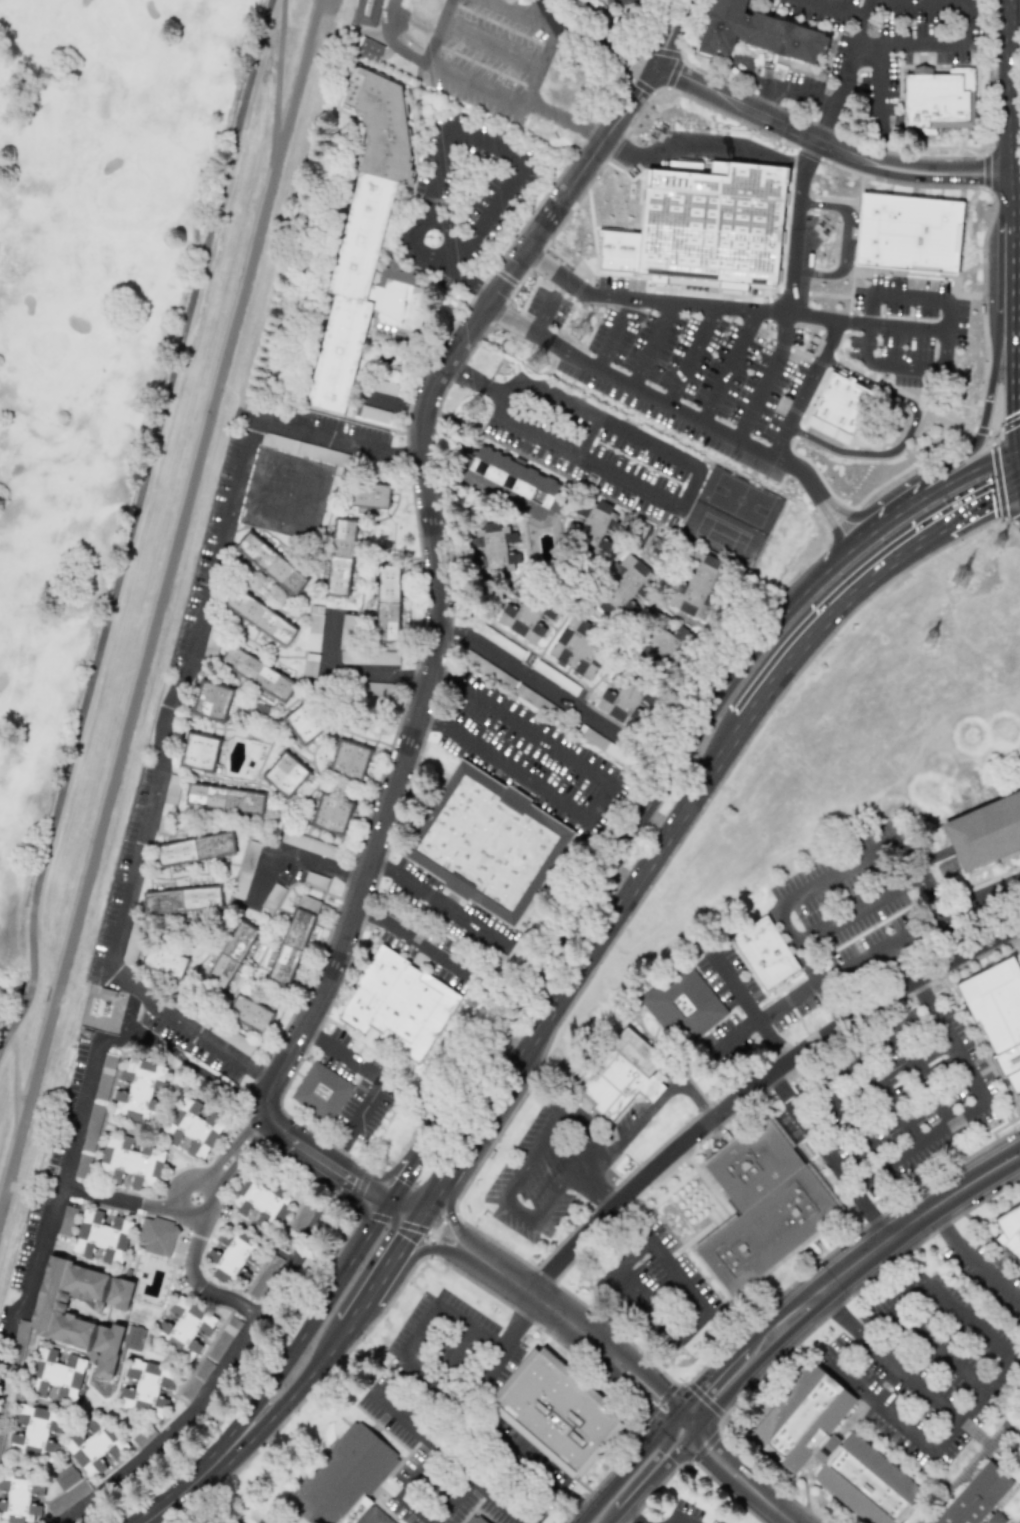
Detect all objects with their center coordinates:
road: (782, 1)
building: (626, 2)
road: (837, 9)
building: (366, 12)
road: (521, 13)
road: (414, 23)
road: (438, 31)
road: (670, 32)
building: (758, 33)
road: (579, 37)
road: (390, 40)
road: (933, 43)
road: (490, 45)
building: (368, 50)
road: (625, 50)
road: (544, 51)
road: (621, 59)
road: (646, 63)
road: (845, 71)
road: (298, 77)
road: (877, 82)
road: (475, 87)
building: (940, 98)
road: (1013, 104)
road: (566, 119)
road: (487, 143)
road: (704, 149)
road: (443, 227)
building: (709, 232)
road: (466, 238)
building: (912, 238)
road: (848, 242)
road: (415, 243)
building: (367, 244)
road: (453, 255)
road: (1016, 259)
road: (469, 283)
road: (653, 301)
road: (513, 317)
road: (849, 320)
power tower: (583, 330)
road: (1016, 330)
road: (547, 339)
park: (87, 342)
road: (655, 344)
road: (691, 355)
road: (731, 366)
power tower: (542, 368)
road: (909, 368)
road: (769, 376)
building: (385, 387)
road: (809, 388)
road: (654, 394)
road: (1017, 394)
building: (844, 405)
power tower: (477, 413)
building: (374, 414)
road: (986, 429)
road: (906, 433)
building: (306, 450)
road: (426, 465)
road: (148, 474)
building: (510, 480)
road: (935, 489)
road: (820, 491)
road: (987, 495)
building: (369, 496)
road: (663, 505)
road: (889, 510)
park: (731, 519)
building: (595, 527)
power tower: (1000, 542)
building: (496, 547)
building: (340, 558)
building: (270, 563)
road: (167, 570)
power tower: (967, 578)
building: (625, 586)
building: (696, 586)
building: (386, 602)
road: (830, 608)
building: (526, 615)
building: (259, 617)
building: (314, 628)
building: (346, 632)
building: (665, 639)
power tower: (935, 639)
building: (500, 641)
building: (578, 648)
building: (310, 665)
road: (349, 670)
building: (257, 673)
building: (548, 673)
road: (532, 674)
building: (378, 689)
building: (212, 701)
building: (625, 702)
road: (173, 705)
building: (304, 722)
road: (522, 724)
building: (199, 752)
building: (349, 761)
road: (502, 766)
building: (284, 775)
building: (171, 792)
building: (225, 800)
road: (597, 803)
building: (331, 814)
building: (985, 831)
road: (622, 838)
building: (487, 843)
building: (308, 844)
building: (195, 850)
road: (320, 863)
building: (245, 869)
road: (264, 876)
building: (315, 881)
road: (932, 894)
road: (981, 895)
road: (631, 898)
building: (271, 899)
building: (181, 900)
road: (441, 904)
road: (415, 937)
road: (792, 938)
building: (132, 942)
building: (292, 942)
building: (765, 953)
building: (226, 960)
building: (165, 963)
road: (25, 1001)
building: (397, 1006)
building: (683, 1006)
road: (749, 1008)
building: (248, 1014)
building: (998, 1015)
road: (341, 1052)
building: (619, 1073)
building: (105, 1076)
road: (756, 1086)
building: (139, 1091)
building: (322, 1091)
road: (888, 1102)
road: (938, 1103)
road: (656, 1104)
building: (840, 1109)
road: (16, 1111)
road: (75, 1113)
road: (353, 1120)
building: (193, 1127)
building: (92, 1128)
road: (479, 1136)
road: (231, 1146)
road: (541, 1151)
road: (830, 1157)
road: (877, 1157)
road: (239, 1159)
building: (131, 1162)
building: (82, 1167)
road: (868, 1177)
road: (396, 1182)
road: (111, 1198)
building: (263, 1202)
road: (422, 1203)
building: (762, 1207)
road: (173, 1210)
building: (67, 1221)
road: (454, 1223)
building: (1009, 1233)
building: (157, 1236)
building: (102, 1237)
building: (233, 1256)
road: (973, 1258)
road: (290, 1265)
road: (365, 1270)
road: (193, 1273)
road: (841, 1277)
road: (393, 1278)
road: (693, 1300)
road: (619, 1305)
road: (444, 1311)
building: (52, 1317)
road: (965, 1319)
road: (878, 1326)
building: (184, 1327)
road: (578, 1333)
building: (699, 1336)
building: (134, 1338)
building: (223, 1338)
road: (505, 1340)
road: (939, 1348)
road: (886, 1357)
building: (56, 1375)
building: (196, 1379)
building: (146, 1388)
road: (977, 1391)
road: (884, 1406)
building: (558, 1408)
road: (176, 1429)
building: (35, 1433)
road: (252, 1433)
building: (94, 1445)
building: (833, 1449)
road: (424, 1461)
road: (545, 1473)
road: (638, 1473)
road: (736, 1475)
building: (66, 1477)
building: (346, 1479)
road: (477, 1490)
building: (19, 1497)
building: (68, 1497)
building: (978, 1497)
road: (625, 1513)
building: (472, 1519)
road: (674, 1522)

